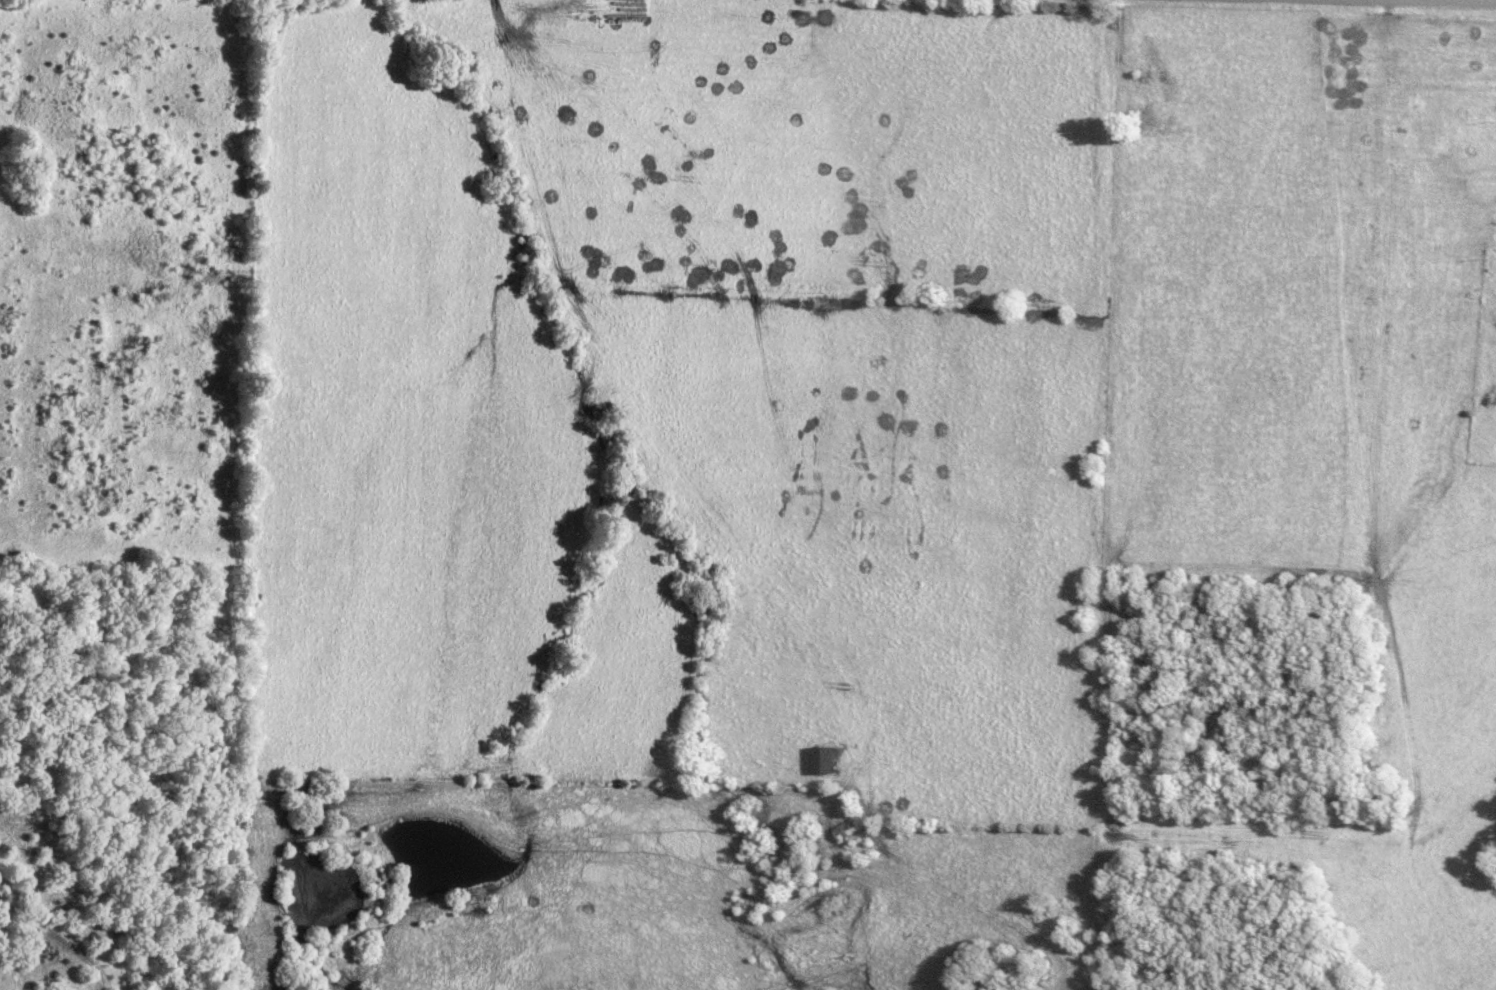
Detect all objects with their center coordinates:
road: (1475, 0)
building: (818, 759)
building: (843, 827)

